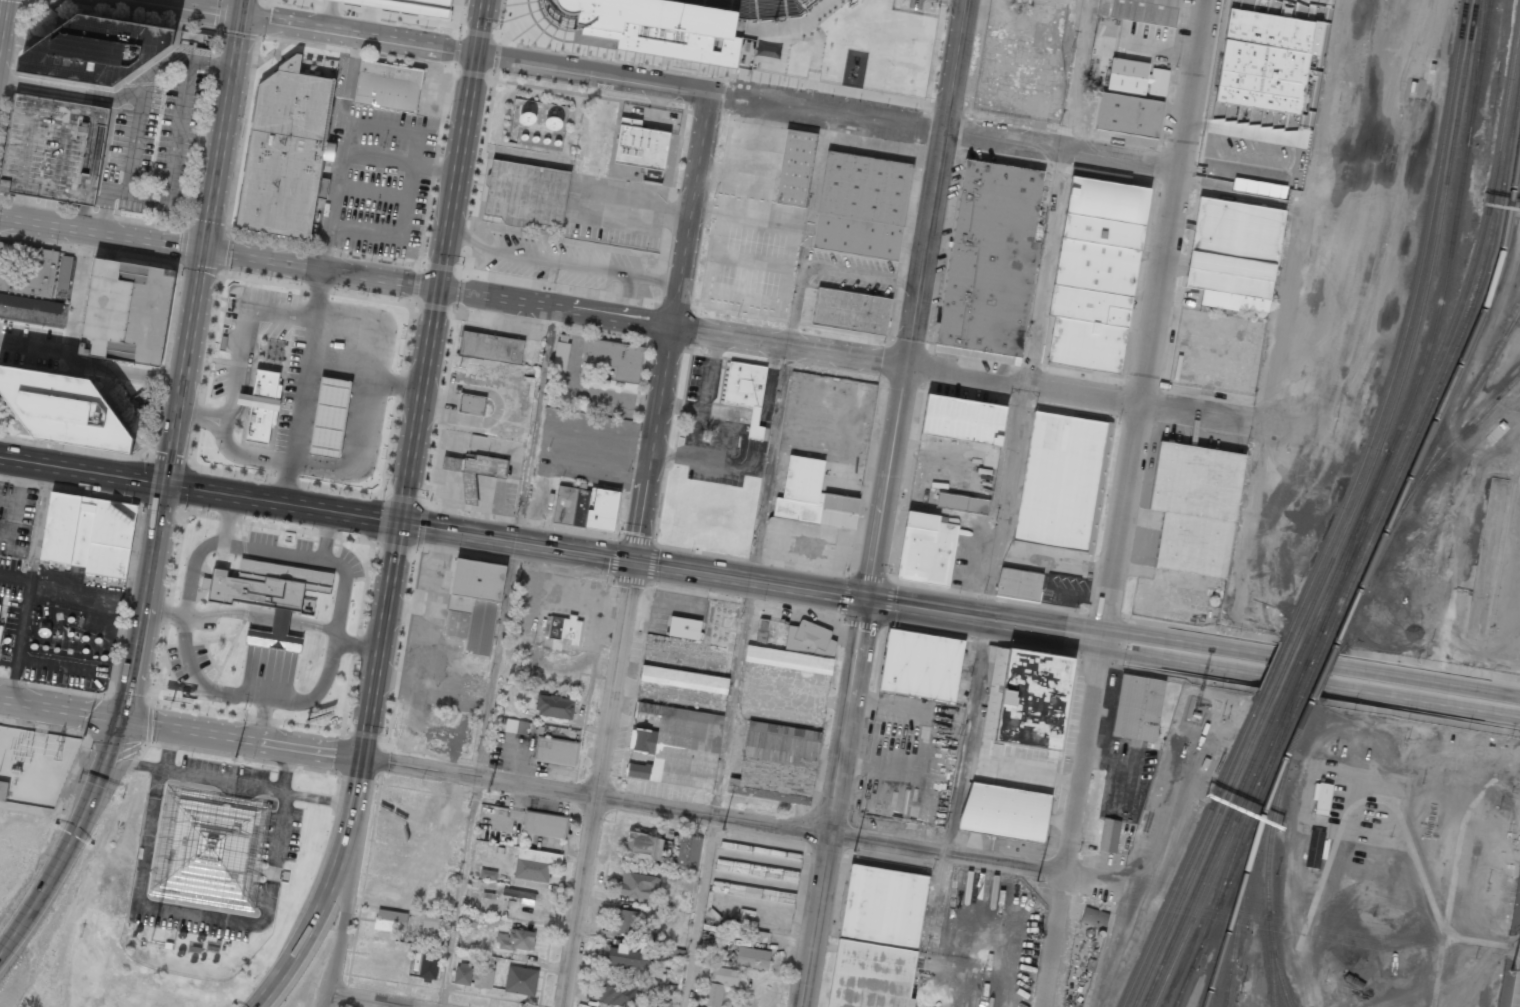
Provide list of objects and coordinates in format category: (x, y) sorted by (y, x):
building: (1062, 1)
building: (418, 5)
road: (193, 8)
road: (242, 8)
building: (1142, 10)
traffic signals: (241, 16)
building: (674, 25)
road: (358, 34)
building: (194, 39)
stadium: (754, 42)
building: (96, 49)
building: (1264, 60)
road: (592, 71)
building: (1135, 76)
building: (388, 85)
building: (1127, 115)
road: (221, 135)
parking lot: (155, 136)
building: (845, 139)
building: (640, 144)
building: (54, 149)
parking garage: (54, 149)
building: (285, 151)
road: (1112, 163)
building: (795, 168)
parking lot: (387, 183)
building: (1258, 188)
building: (526, 193)
building: (1107, 201)
building: (861, 205)
parking lot: (617, 211)
building: (1102, 231)
road: (101, 238)
traffic signals: (202, 255)
building: (1231, 255)
building: (990, 259)
road: (441, 260)
road: (558, 262)
parking lot: (565, 263)
building: (1096, 267)
building: (32, 276)
road: (436, 287)
traffic signals: (437, 288)
road: (625, 294)
road: (916, 300)
building: (1090, 305)
parking lot: (30, 310)
building: (852, 310)
building: (126, 311)
parking garage: (126, 311)
parking lot: (255, 316)
road: (670, 324)
railway: (1406, 328)
railway: (1416, 328)
railway: (1432, 331)
road: (247, 338)
parking lot: (30, 344)
building: (1086, 344)
railway: (1446, 344)
building: (491, 347)
railway: (1462, 353)
building: (560, 356)
building: (613, 359)
railway: (1446, 366)
road: (183, 369)
road: (958, 374)
parking lot: (704, 376)
road: (362, 378)
parking lot: (224, 379)
road: (301, 387)
road: (232, 388)
building: (746, 390)
building: (261, 404)
building: (471, 404)
road: (276, 408)
building: (64, 409)
building: (330, 416)
gas station: (330, 416)
building: (962, 419)
railway: (1454, 440)
road: (226, 444)
road: (359, 456)
parking lot: (712, 456)
road: (82, 470)
building: (474, 471)
railway: (1420, 474)
building: (1061, 482)
traffic signals: (165, 484)
road: (185, 485)
building: (812, 497)
road: (282, 502)
building: (961, 503)
road: (1125, 503)
building: (1196, 507)
road: (181, 508)
building: (586, 508)
parking lot: (16, 518)
traffic signals: (399, 522)
building: (89, 532)
road: (515, 542)
road: (516, 542)
building: (925, 549)
parking lot: (9, 570)
road: (748, 581)
building: (1019, 584)
building: (269, 595)
road: (848, 596)
traffic signals: (866, 600)
road: (145, 601)
building: (422, 602)
building: (475, 604)
building: (562, 628)
building: (684, 628)
building: (762, 630)
road: (1084, 633)
road: (380, 640)
building: (798, 651)
road: (1312, 662)
building: (920, 666)
railway: (1271, 666)
railway: (1282, 667)
railway: (1290, 669)
railway: (1300, 670)
building: (527, 672)
railway: (1309, 672)
railway: (1319, 673)
building: (684, 680)
road: (1309, 684)
building: (1035, 700)
building: (555, 706)
road: (61, 708)
building: (1138, 708)
traffic signals: (123, 719)
railway: (1298, 722)
building: (517, 727)
power tower: (85, 735)
road: (241, 738)
building: (677, 746)
building: (556, 750)
power tower: (235, 756)
traffic signals: (361, 758)
building: (779, 760)
railway: (1281, 762)
power substation: (34, 764)
road: (110, 780)
road: (357, 781)
road: (222, 782)
road: (600, 784)
building: (3, 789)
power tower: (488, 792)
building: (1321, 798)
road: (319, 799)
road: (836, 803)
building: (1006, 812)
road: (714, 817)
building: (544, 824)
power tower: (722, 829)
railway: (1249, 834)
building: (1109, 835)
road: (69, 840)
building: (643, 846)
building: (203, 848)
building: (1313, 849)
railway: (1190, 850)
building: (688, 851)
power tower: (854, 851)
railway: (1201, 851)
railway: (1210, 852)
railway: (1219, 852)
railway: (1236, 853)
building: (534, 864)
railway: (1267, 873)
building: (488, 874)
power tower: (1036, 881)
building: (638, 885)
road: (460, 892)
railway: (1237, 894)
building: (521, 896)
road: (343, 899)
building: (489, 901)
road: (318, 912)
road: (701, 912)
road: (194, 916)
building: (1094, 917)
building: (390, 921)
building: (430, 921)
building: (469, 921)
building: (625, 922)
road: (996, 926)
building: (748, 934)
railway: (1234, 937)
building: (877, 938)
building: (516, 940)
building: (163, 948)
building: (207, 951)
building: (752, 958)
building: (629, 960)
building: (428, 965)
power tower: (1511, 970)
building: (463, 973)
railway: (1276, 974)
building: (483, 975)
building: (724, 975)
building: (520, 980)
railway: (1211, 989)
building: (620, 993)
building: (713, 994)
road: (323, 999)
road: (371, 999)
railway: (1157, 1001)
building: (696, 1005)

